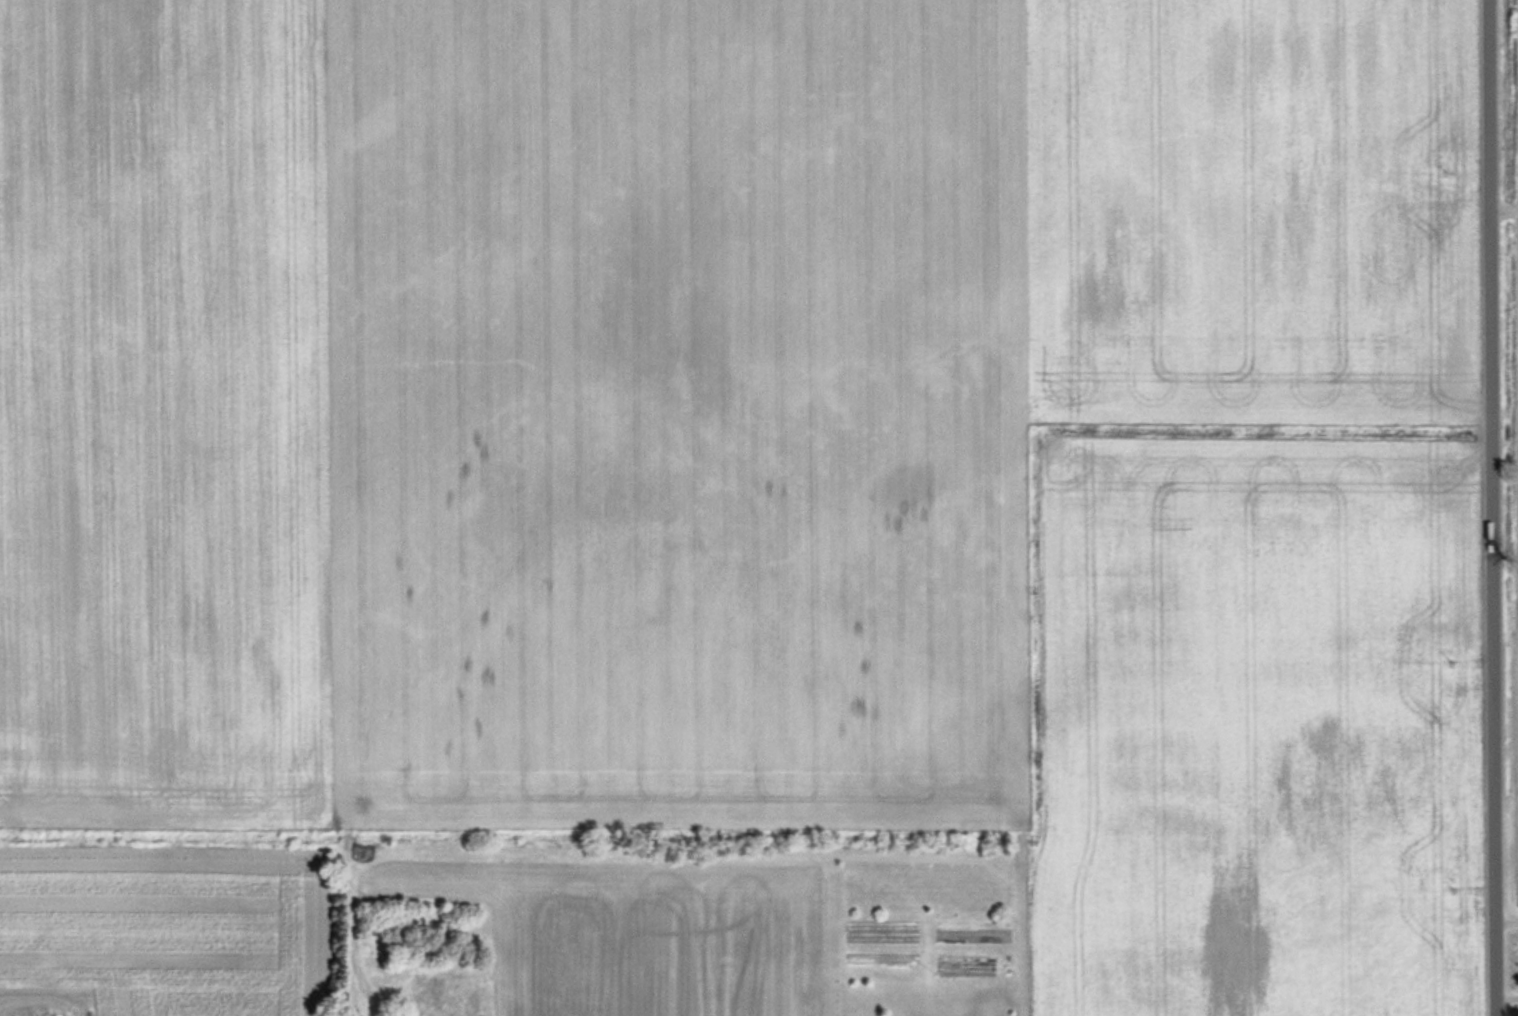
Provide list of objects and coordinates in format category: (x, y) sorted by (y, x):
road: (1494, 508)
building: (35, 1015)

